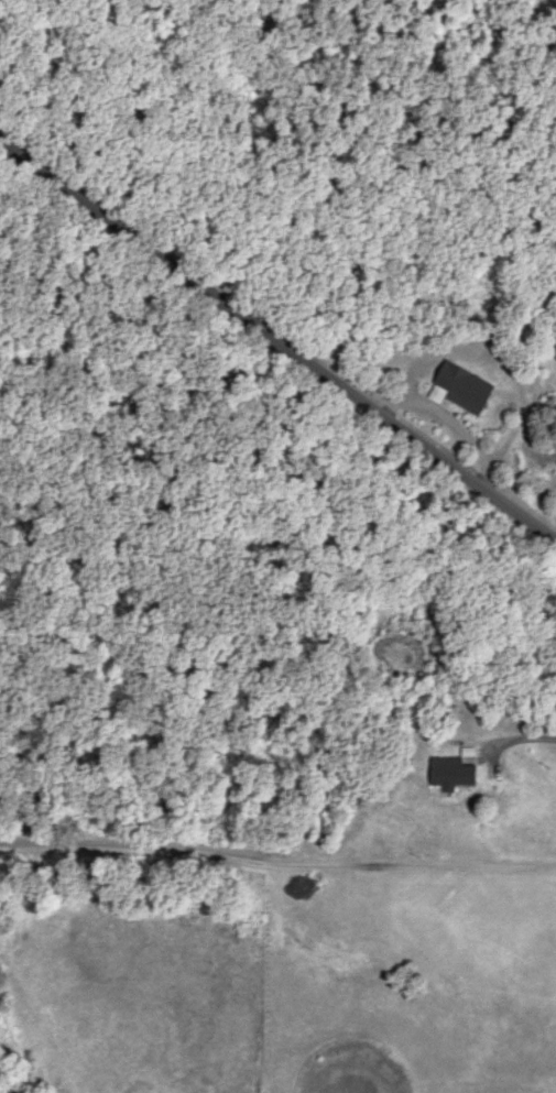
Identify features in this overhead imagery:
park: (132, 175)
road: (269, 342)
building: (469, 389)
road: (521, 736)
building: (457, 770)

